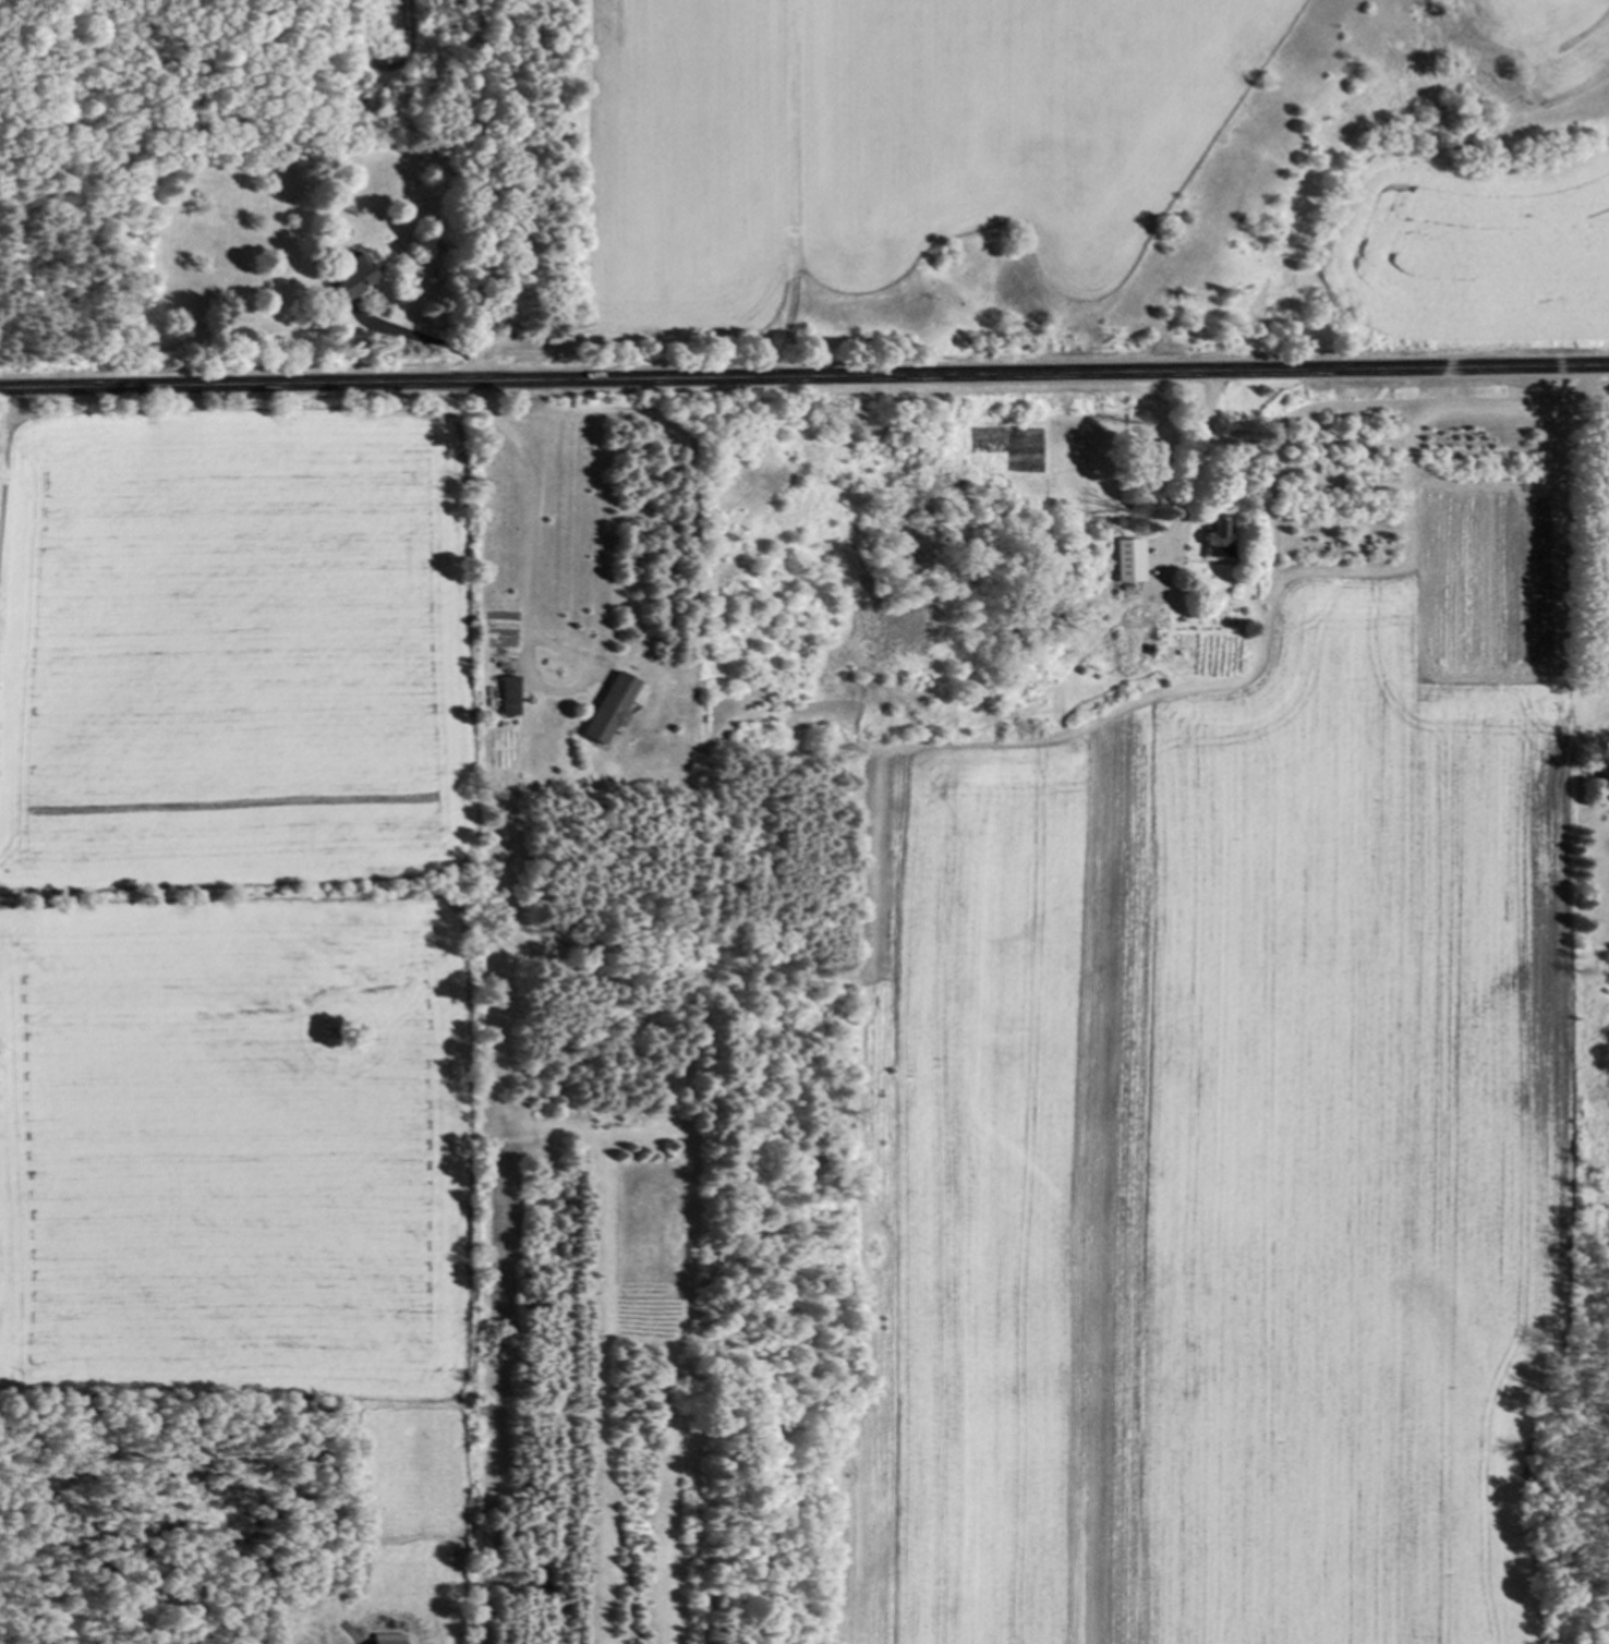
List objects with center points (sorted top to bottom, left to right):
road: (474, 191)
building: (352, 278)
road: (803, 378)
road: (1575, 402)
road: (1193, 469)
building: (1218, 541)
building: (1132, 563)
road: (525, 596)
building: (1144, 644)
building: (510, 698)
building: (607, 711)

